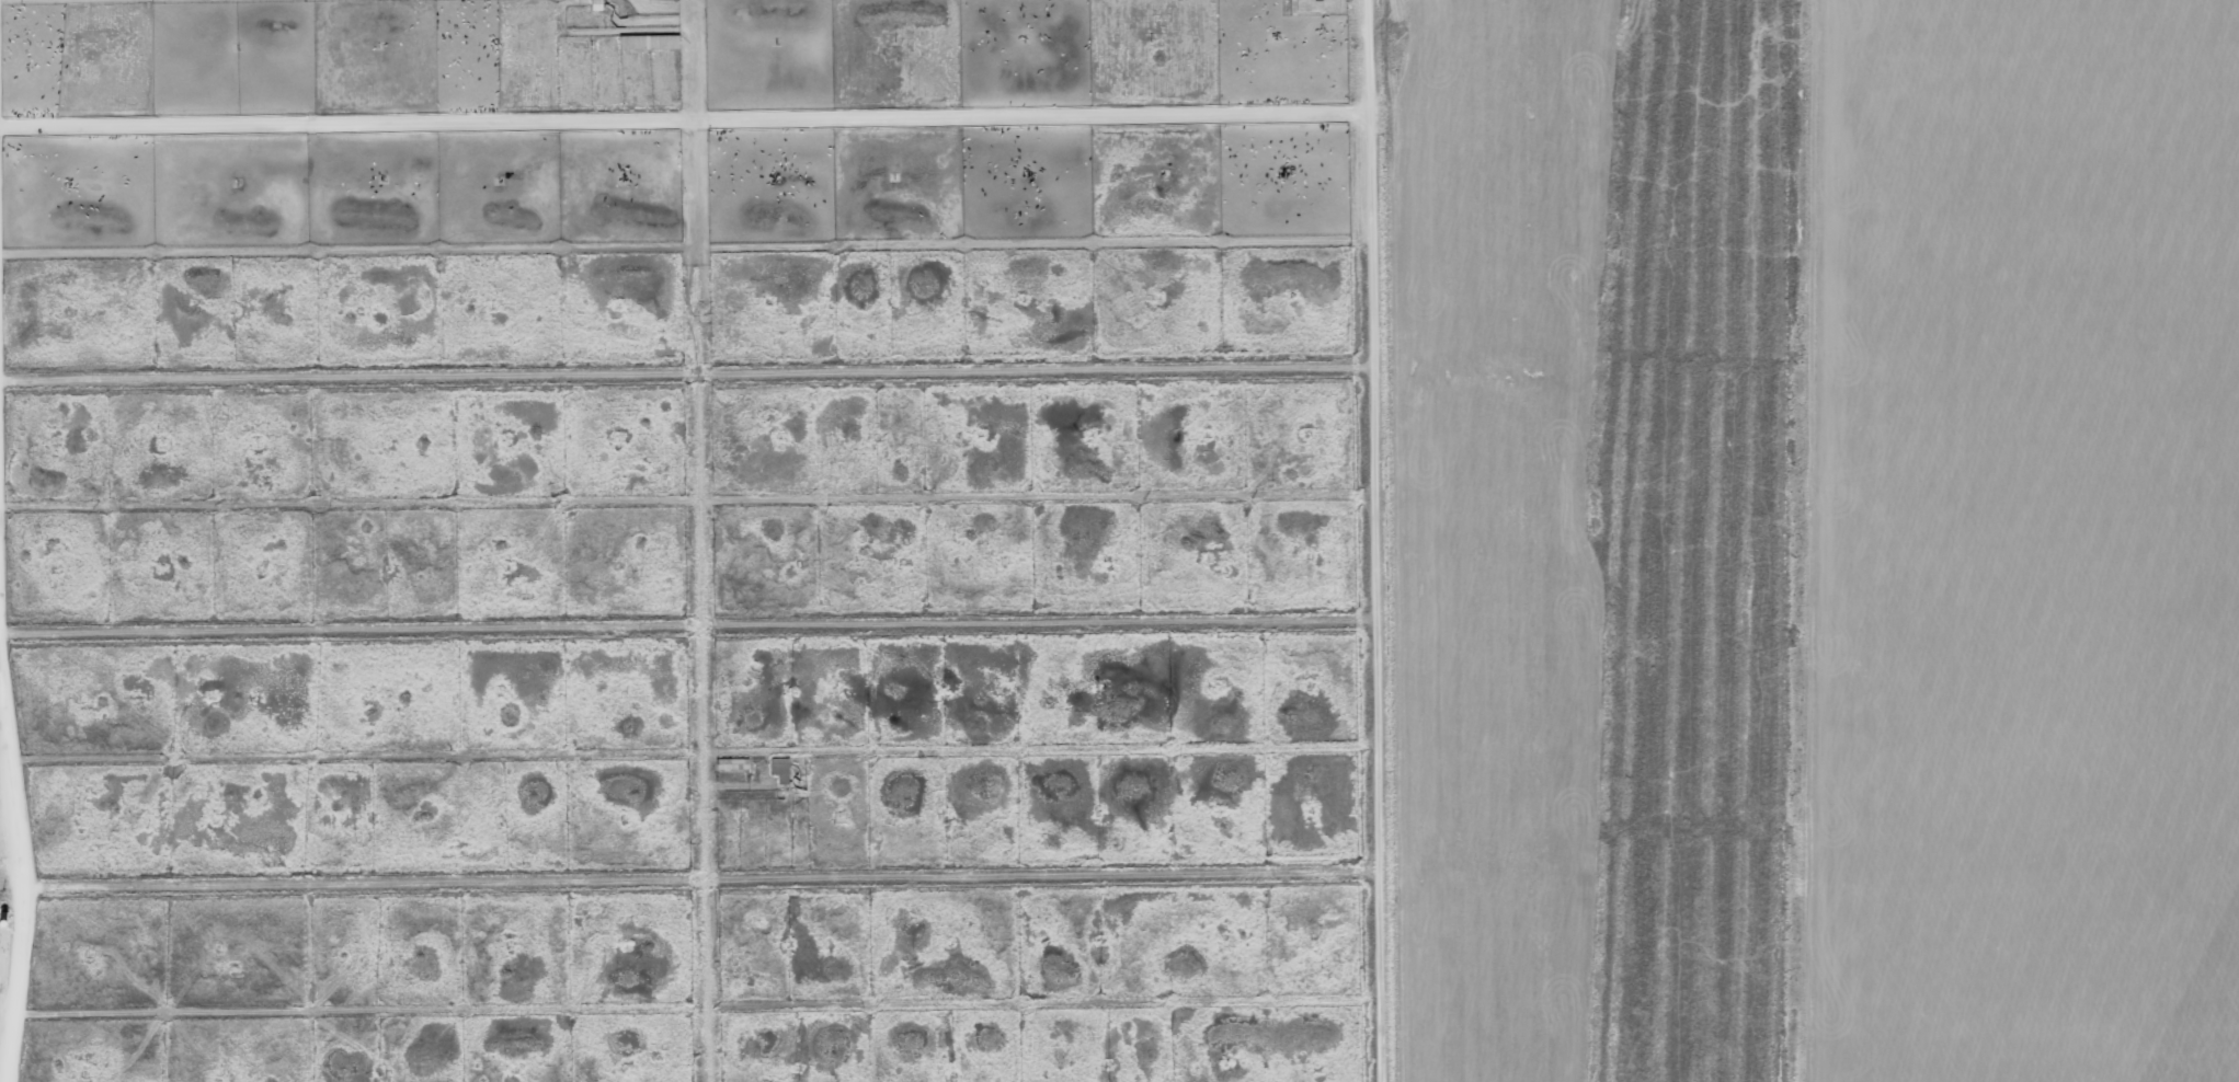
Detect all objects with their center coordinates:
building: (1312, 5)
building: (651, 42)
road: (698, 541)
road: (1367, 541)
building: (784, 769)
road: (19, 868)

